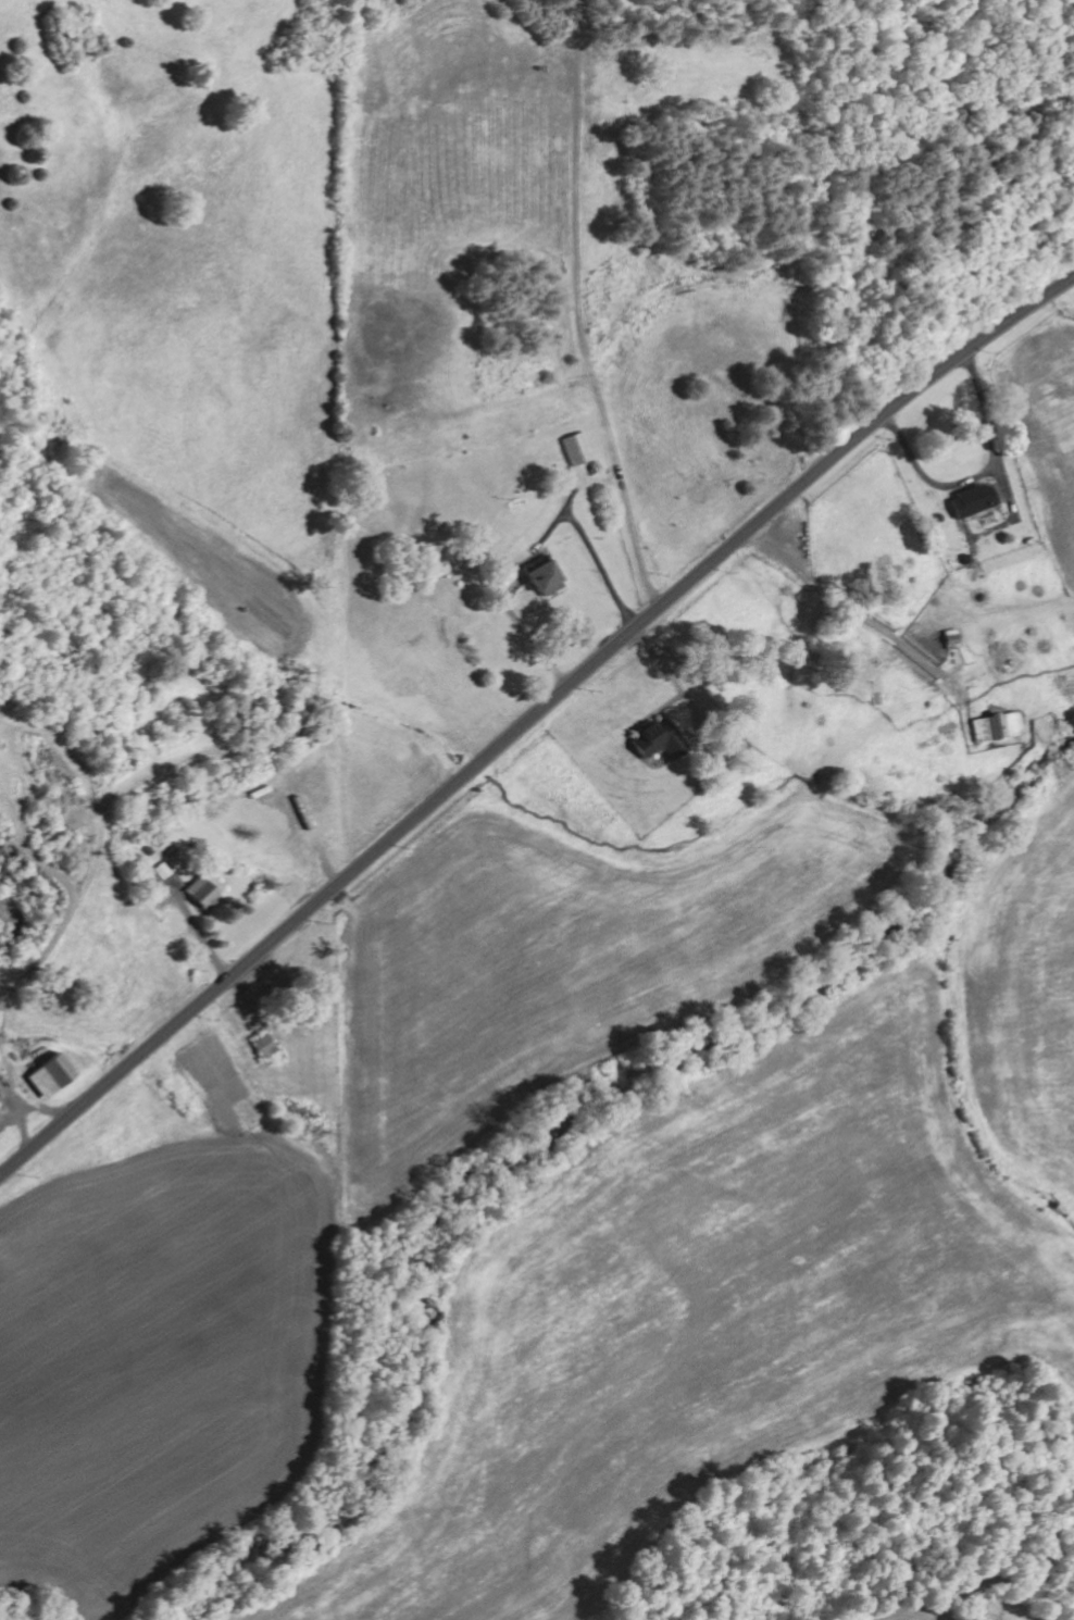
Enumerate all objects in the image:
building: (578, 448)
building: (972, 499)
building: (544, 577)
building: (951, 638)
road: (530, 715)
building: (997, 725)
building: (661, 743)
building: (203, 889)
building: (265, 1045)
building: (50, 1074)

